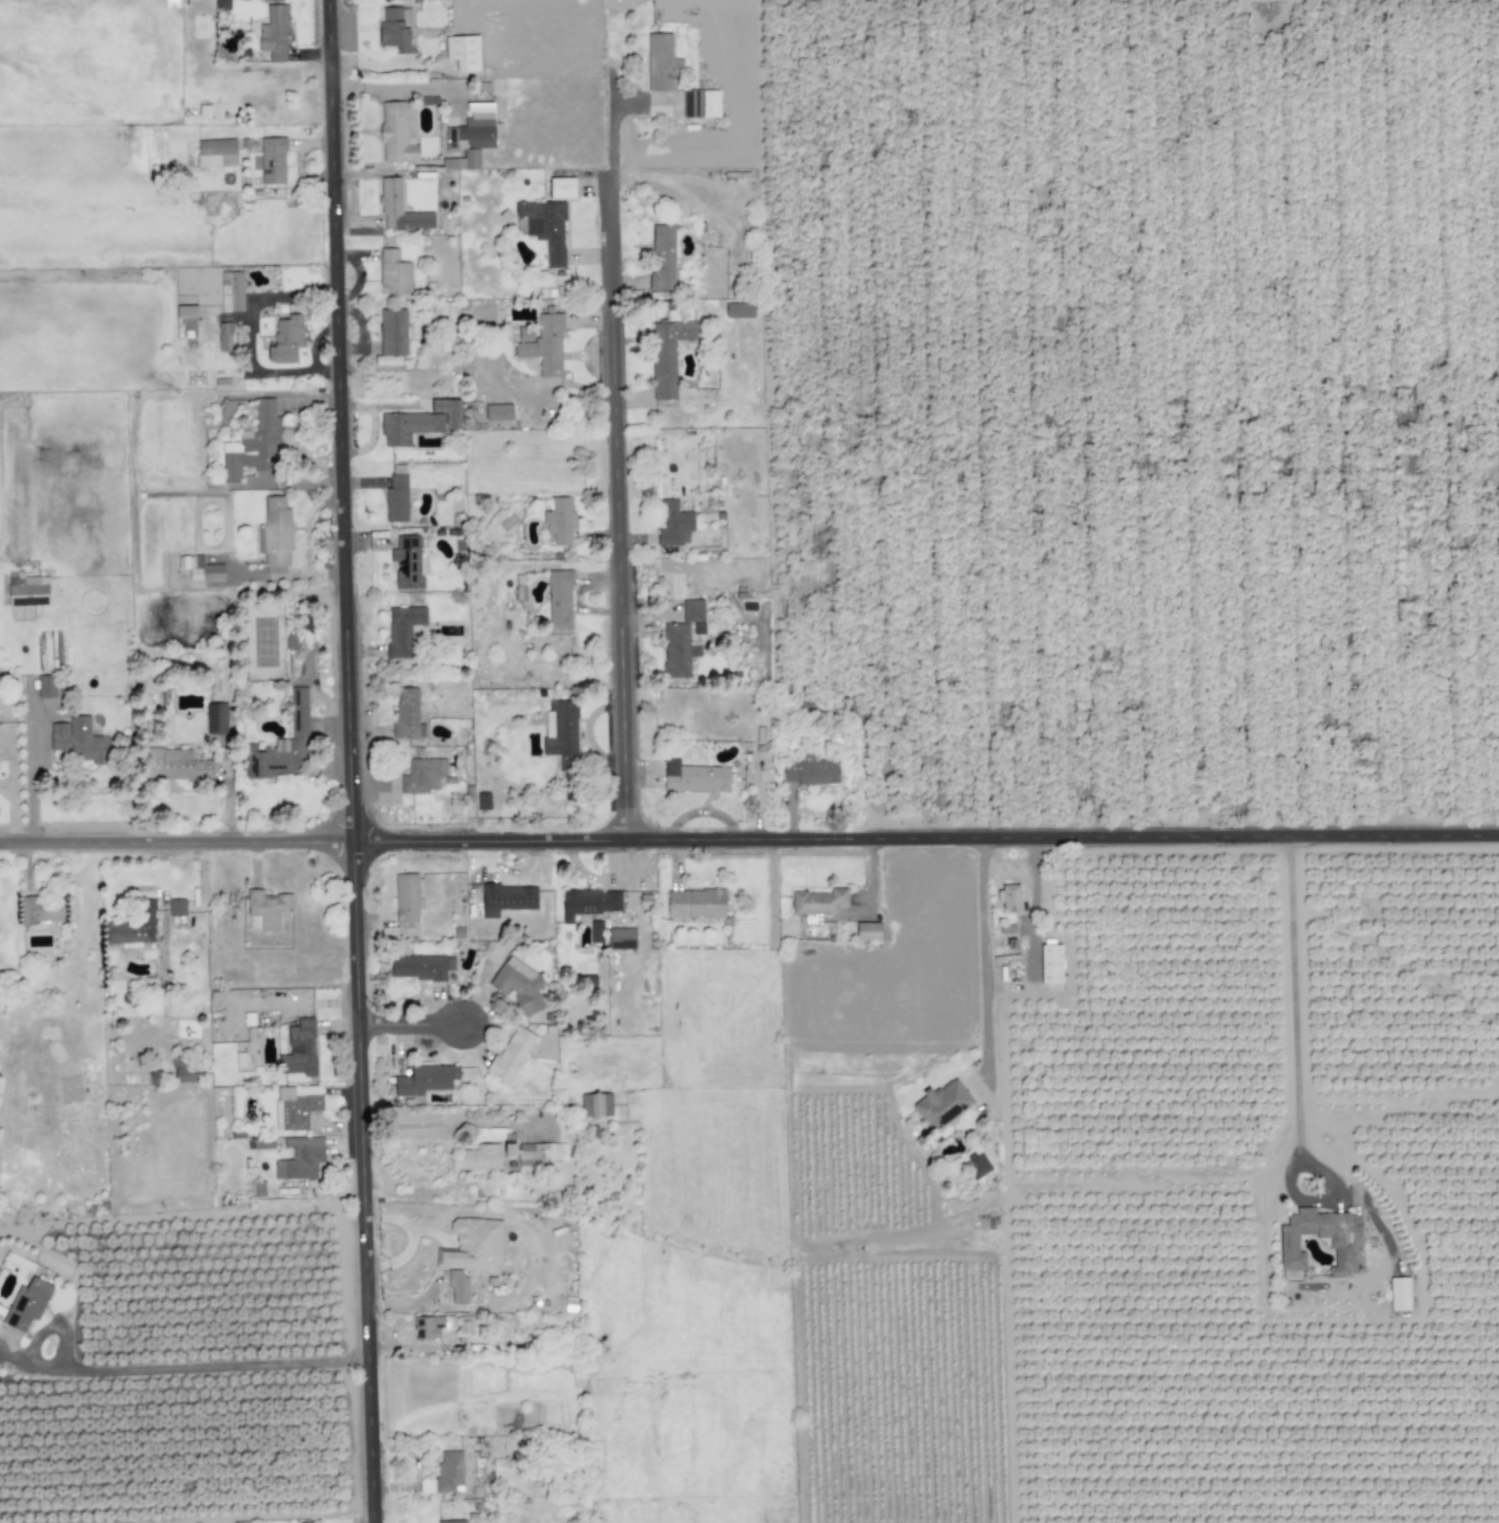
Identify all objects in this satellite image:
building: (223, 5)
building: (395, 31)
building: (276, 32)
building: (464, 52)
building: (662, 63)
building: (692, 103)
building: (711, 103)
building: (205, 112)
building: (398, 133)
building: (471, 136)
building: (217, 152)
building: (273, 160)
building: (562, 187)
building: (400, 208)
building: (544, 227)
building: (663, 258)
building: (394, 272)
building: (232, 291)
building: (446, 310)
building: (740, 310)
building: (186, 321)
building: (225, 336)
building: (393, 336)
building: (287, 339)
building: (543, 344)
building: (668, 355)
building: (499, 412)
building: (421, 422)
building: (255, 444)
road: (621, 471)
building: (397, 498)
building: (560, 520)
building: (674, 524)
building: (276, 531)
building: (201, 569)
building: (28, 591)
building: (560, 600)
building: (695, 614)
building: (403, 629)
building: (292, 641)
building: (678, 650)
building: (47, 686)
building: (408, 715)
building: (562, 733)
building: (80, 740)
building: (284, 745)
road: (352, 761)
building: (175, 764)
building: (812, 770)
building: (424, 775)
building: (695, 777)
road: (34, 787)
building: (484, 801)
road: (16, 811)
road: (749, 840)
road: (1006, 873)
road: (177, 886)
building: (406, 897)
building: (507, 898)
building: (1011, 899)
building: (819, 901)
building: (589, 902)
building: (696, 903)
building: (177, 907)
building: (266, 909)
building: (41, 911)
building: (134, 926)
building: (868, 930)
building: (597, 931)
road: (1031, 935)
building: (622, 937)
road: (986, 953)
building: (421, 966)
building: (1052, 966)
building: (590, 981)
building: (518, 983)
road: (1293, 992)
road: (416, 1029)
building: (300, 1049)
building: (511, 1055)
building: (186, 1074)
building: (426, 1079)
building: (607, 1104)
building: (592, 1105)
building: (942, 1105)
building: (295, 1107)
road: (435, 1123)
building: (535, 1151)
building: (481, 1157)
building: (301, 1158)
building: (978, 1164)
road: (411, 1241)
building: (474, 1246)
building: (1340, 1246)
building: (458, 1285)
building: (1399, 1296)
building: (27, 1304)
building: (464, 1323)
building: (428, 1327)
road: (24, 1357)
road: (210, 1365)
building: (445, 1474)
road: (282, 1516)
building: (452, 1521)

